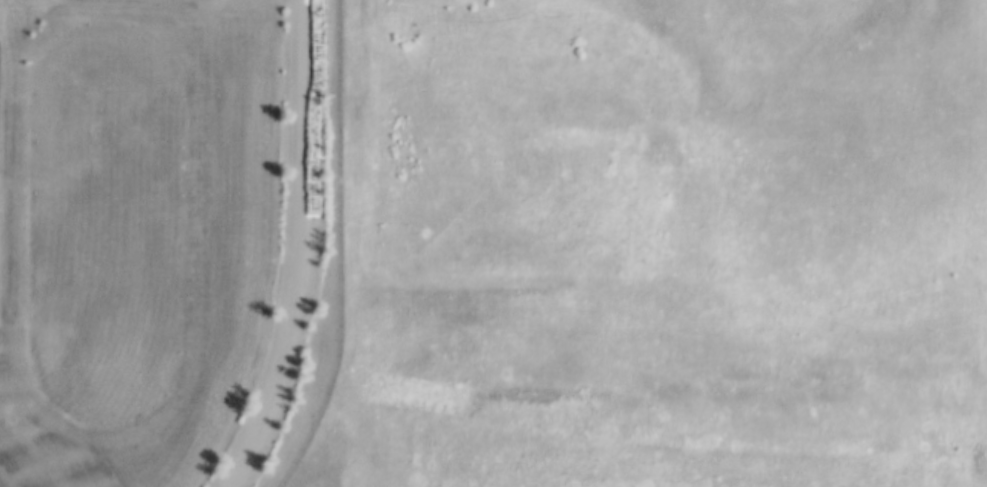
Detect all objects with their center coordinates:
track: (197, 222)
road: (298, 250)

